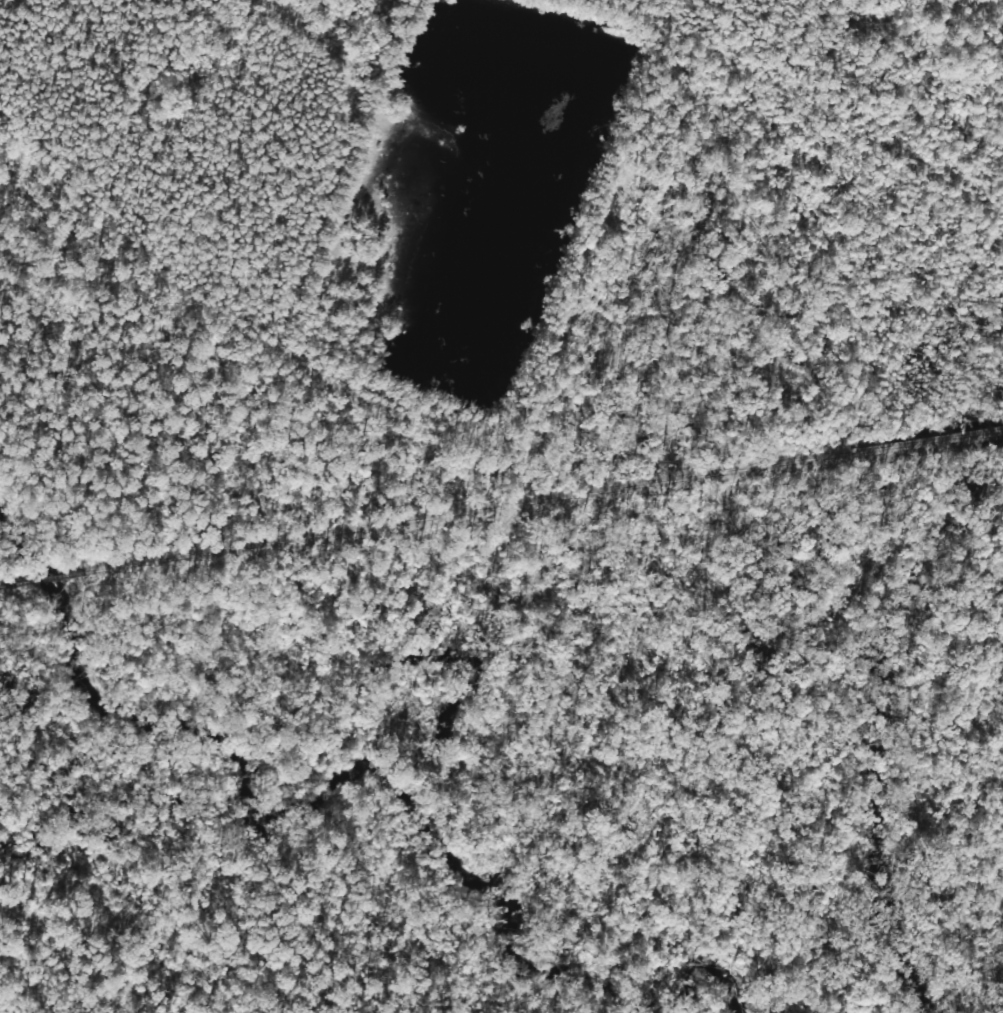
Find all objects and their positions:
railway: (501, 509)

